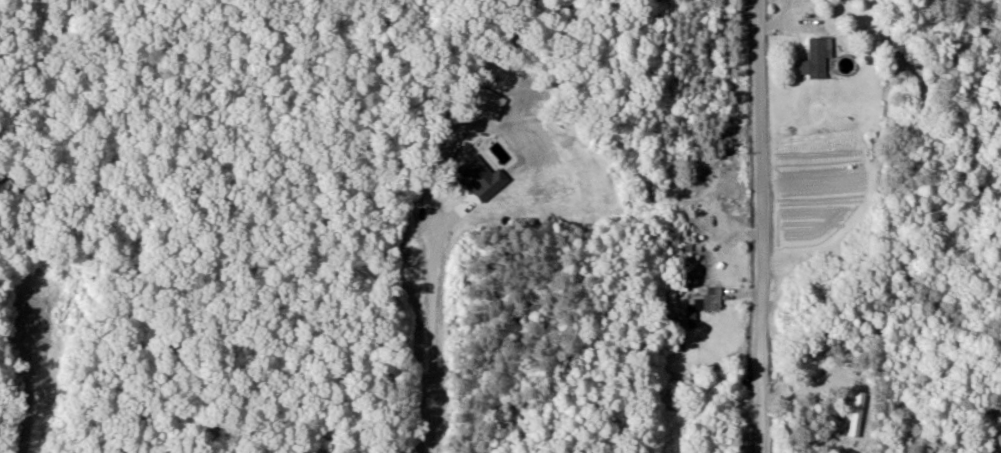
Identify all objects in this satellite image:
building: (815, 60)
road: (761, 226)
building: (680, 282)
building: (696, 309)

